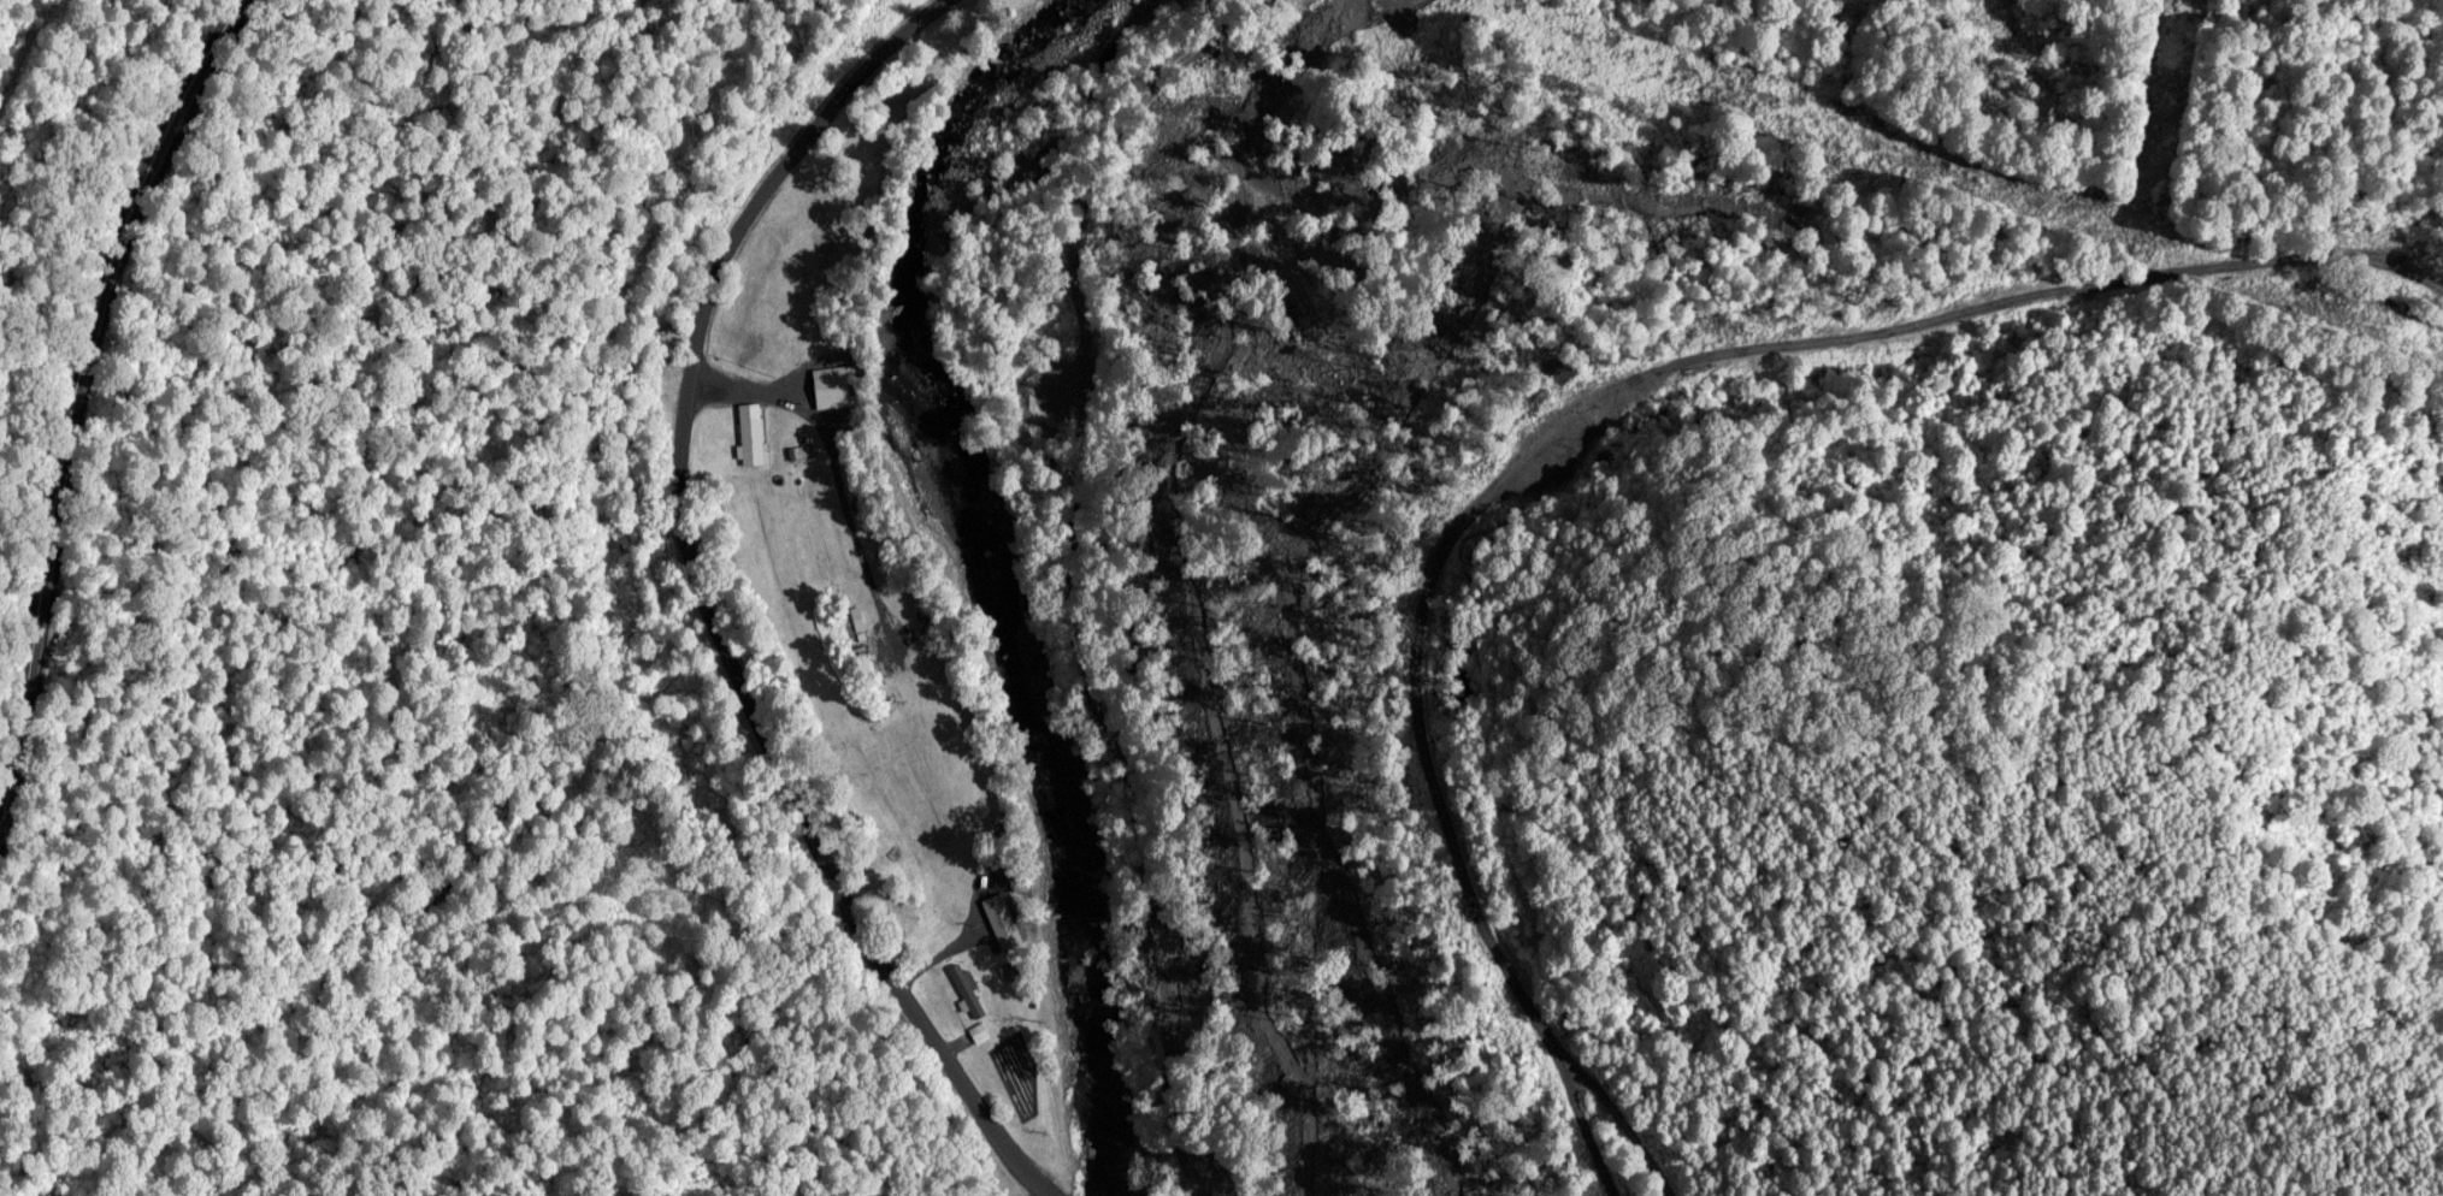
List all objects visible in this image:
road: (46, 63)
building: (833, 384)
road: (87, 404)
building: (783, 404)
building: (753, 438)
road: (1097, 568)
road: (707, 603)
building: (1009, 954)
road: (1621, 1157)

